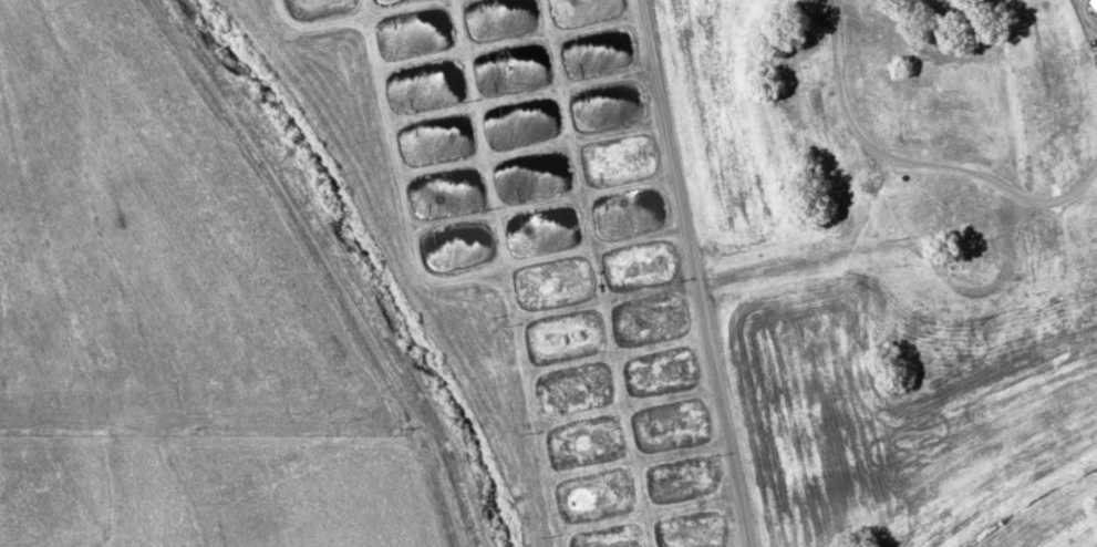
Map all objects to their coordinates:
building: (1094, 2)
road: (918, 161)
road: (338, 264)
road: (692, 272)

